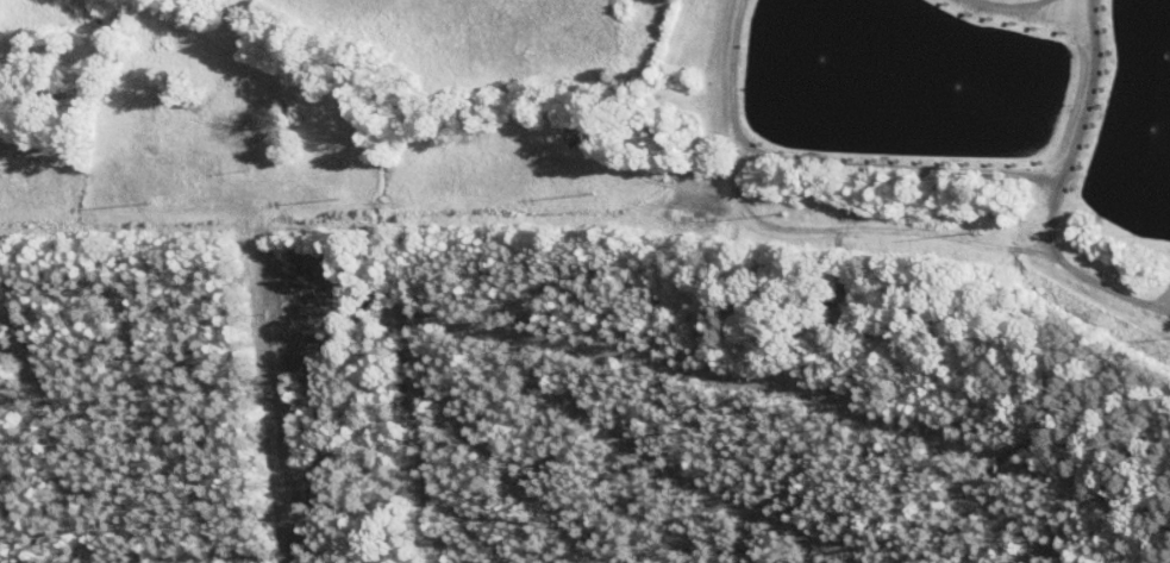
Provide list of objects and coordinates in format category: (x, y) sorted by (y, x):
road: (120, 26)

